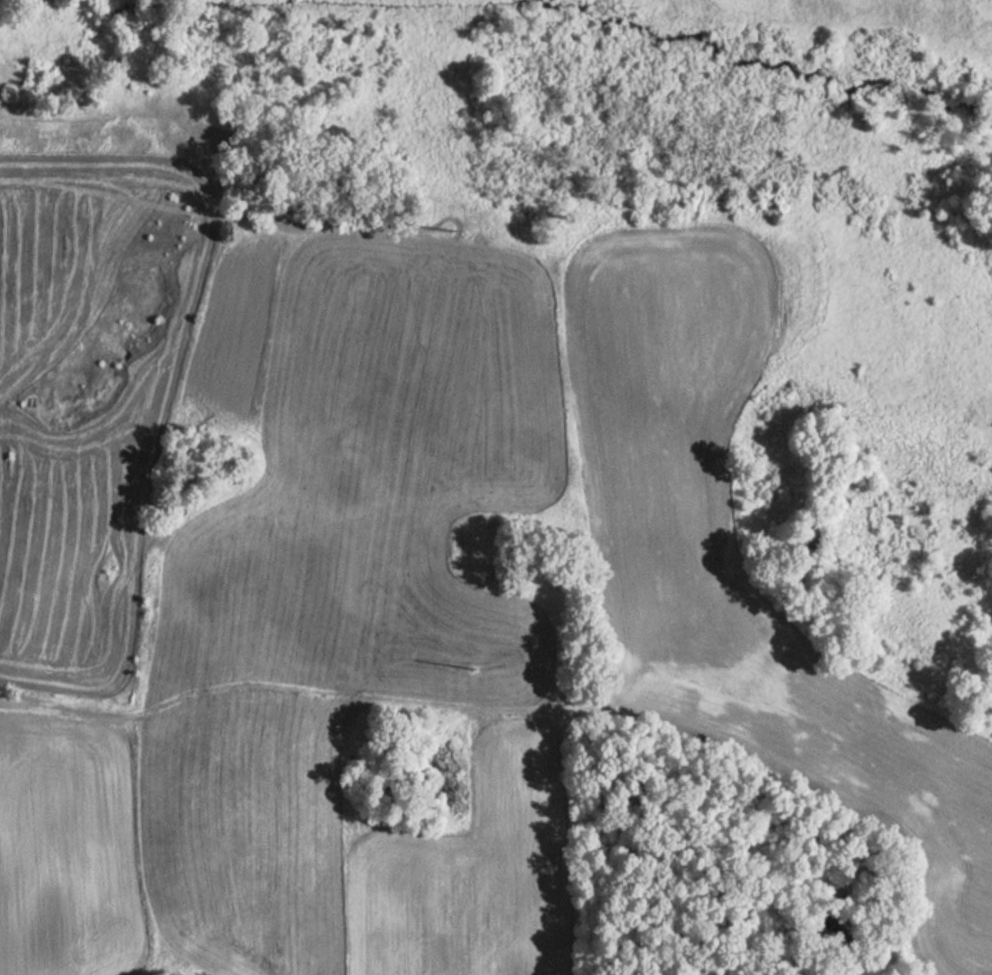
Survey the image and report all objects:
power tower: (451, 230)
power tower: (470, 670)

